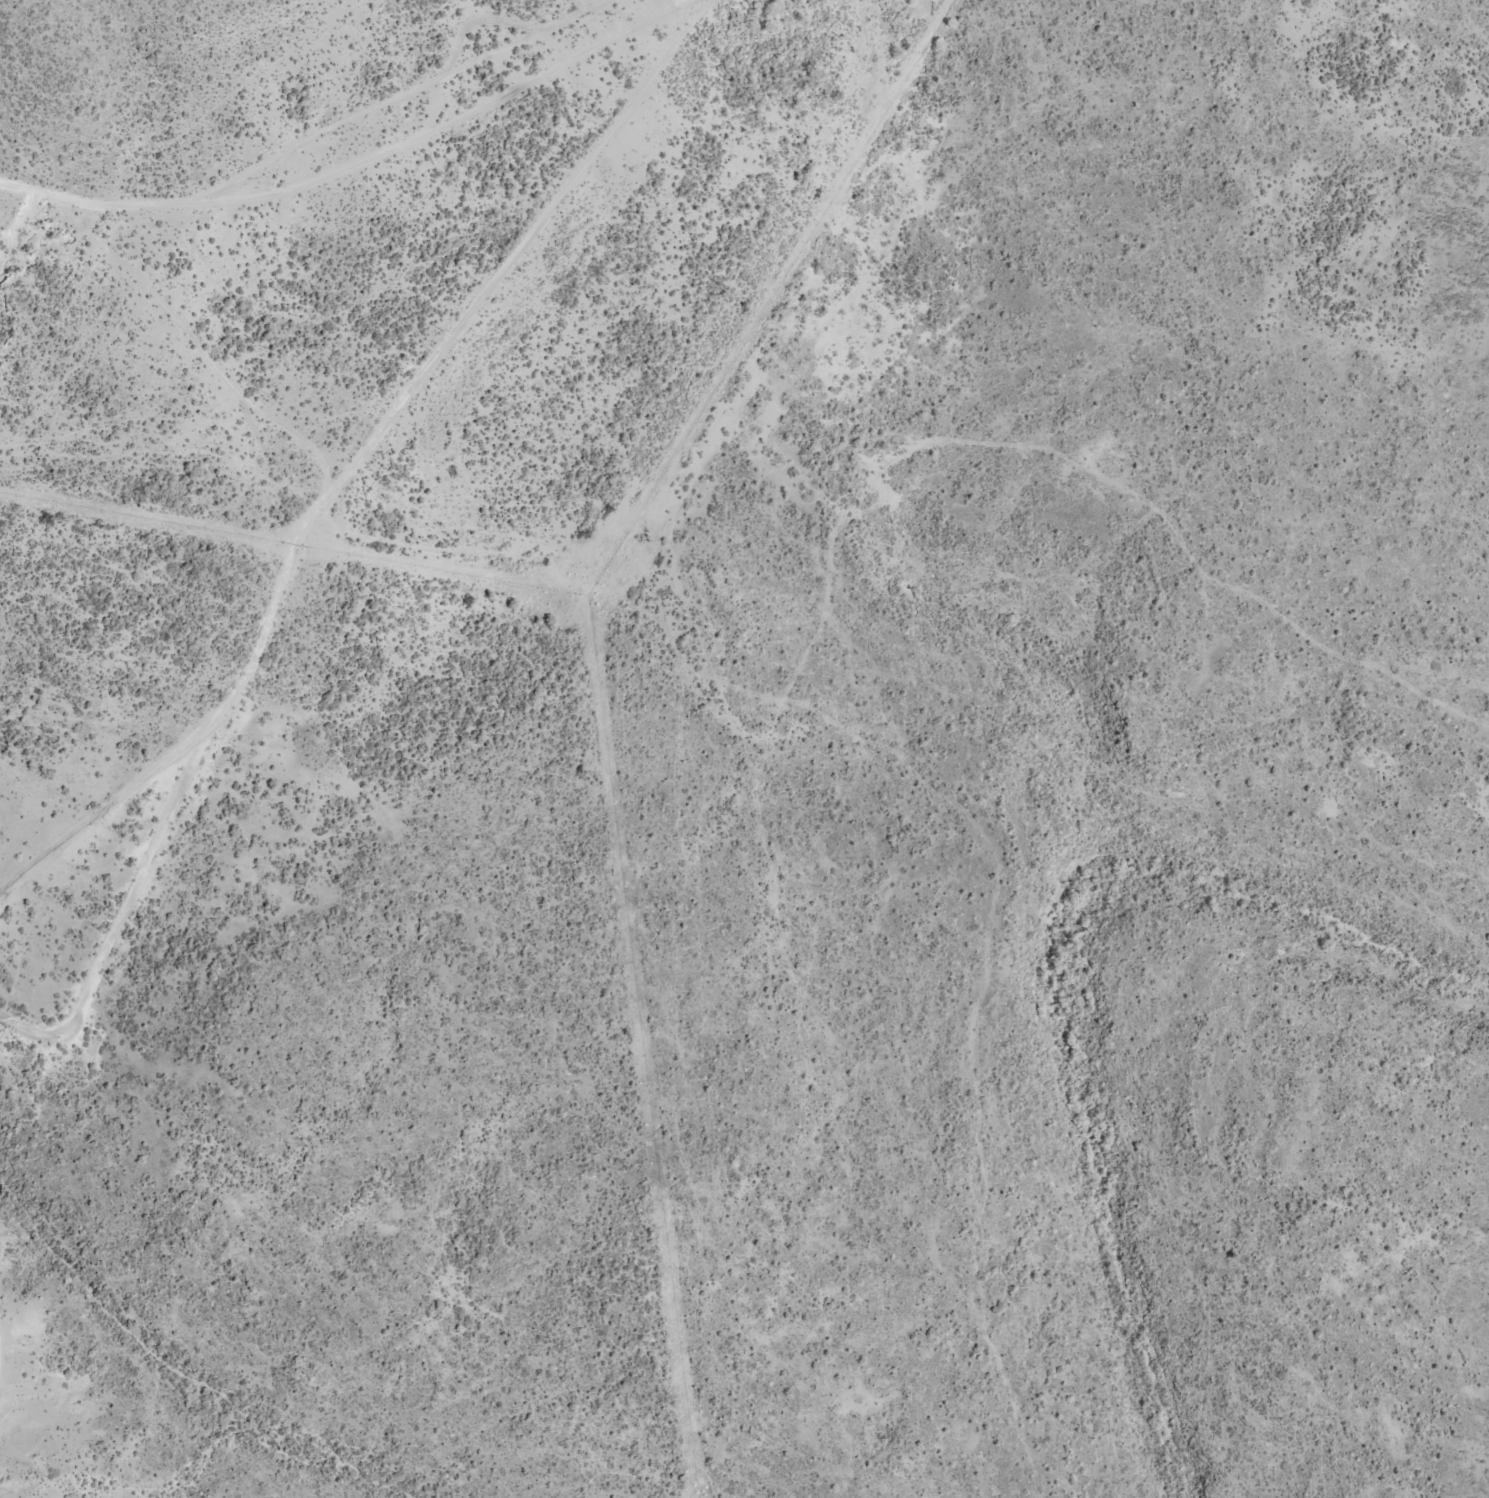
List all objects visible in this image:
road: (316, 516)
road: (773, 677)
road: (4, 1359)

